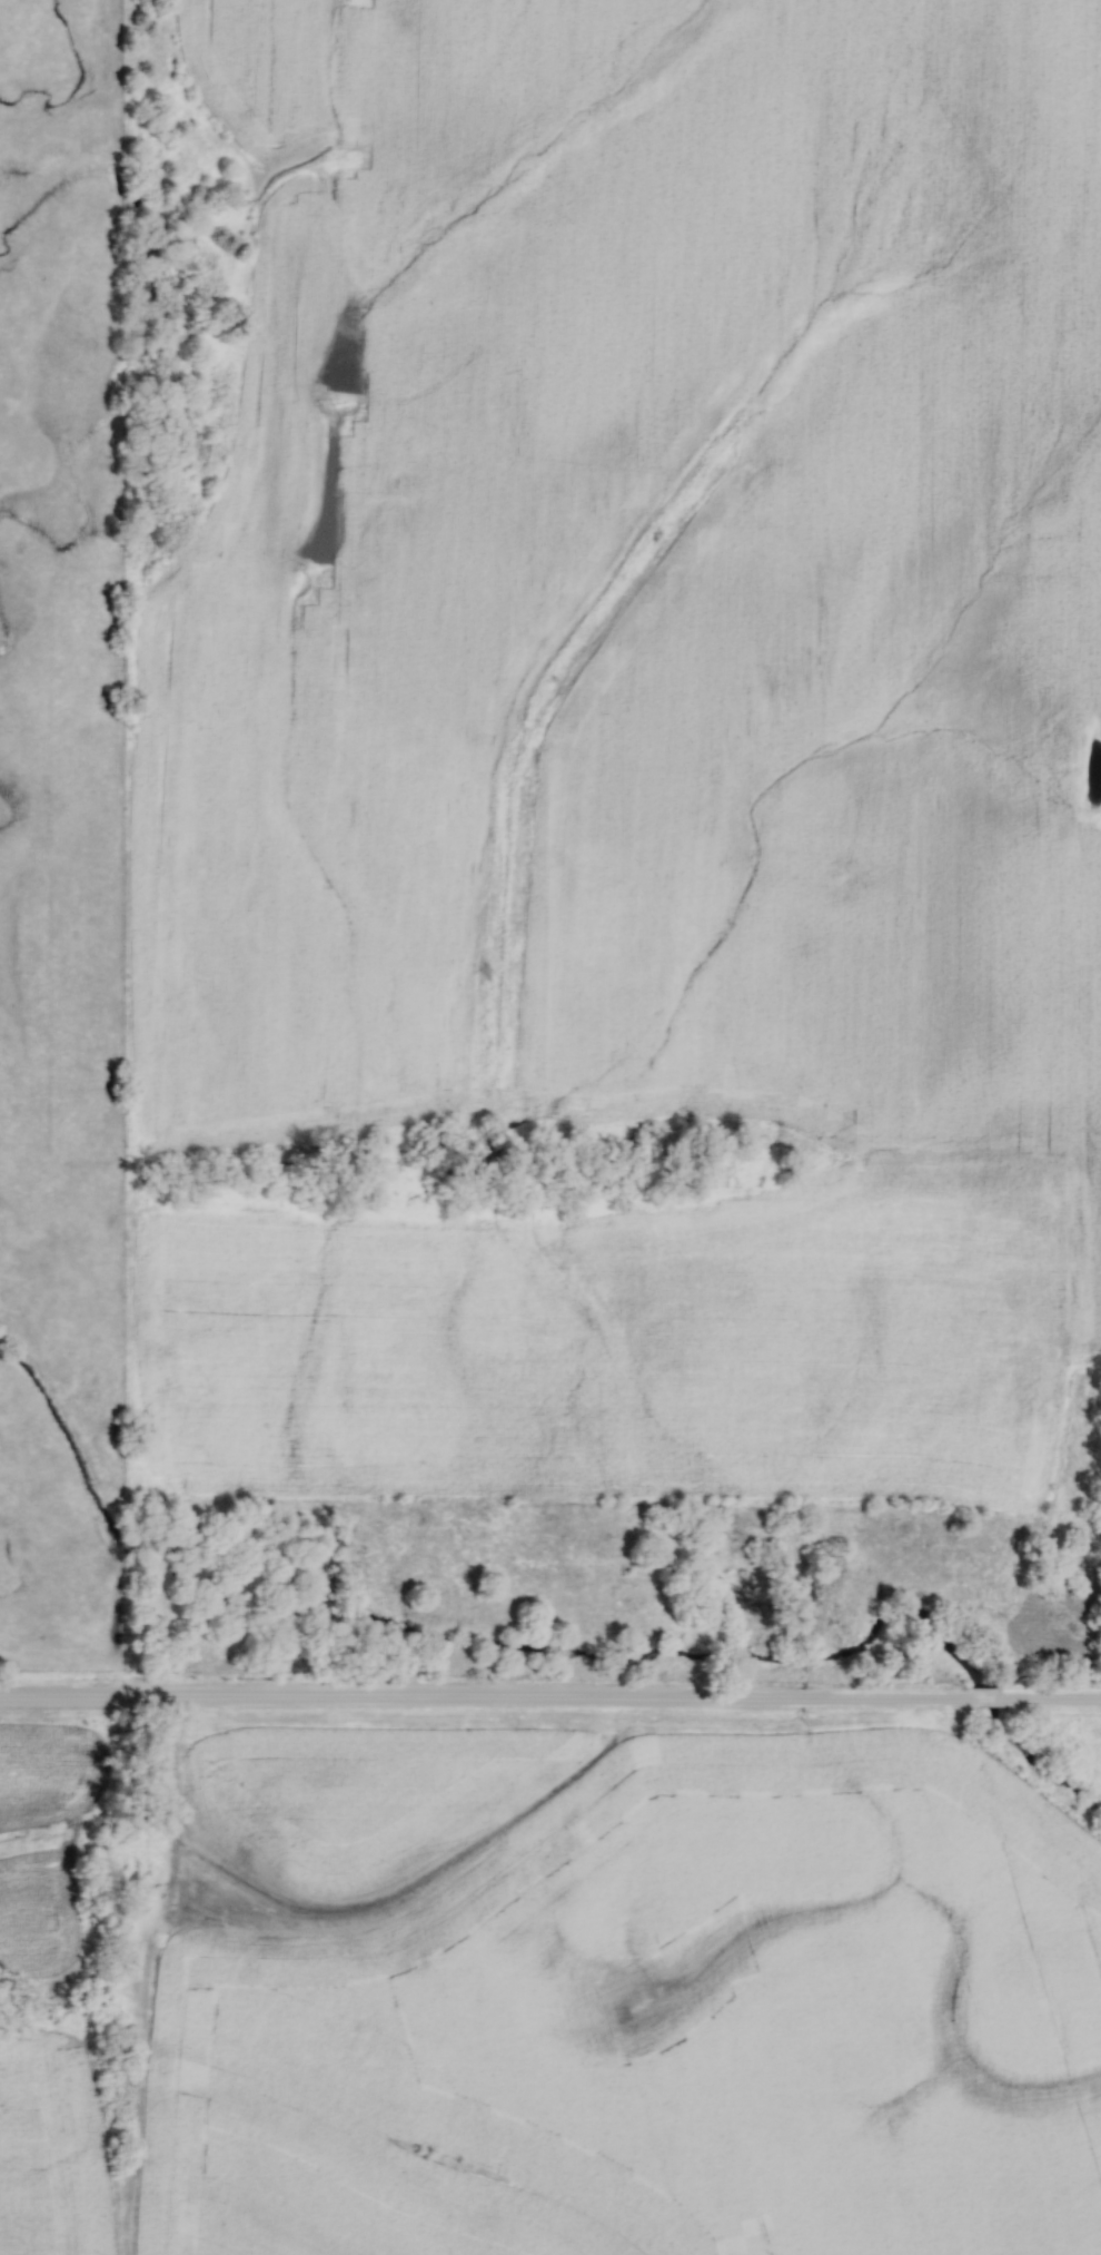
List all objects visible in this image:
road: (549, 1698)

